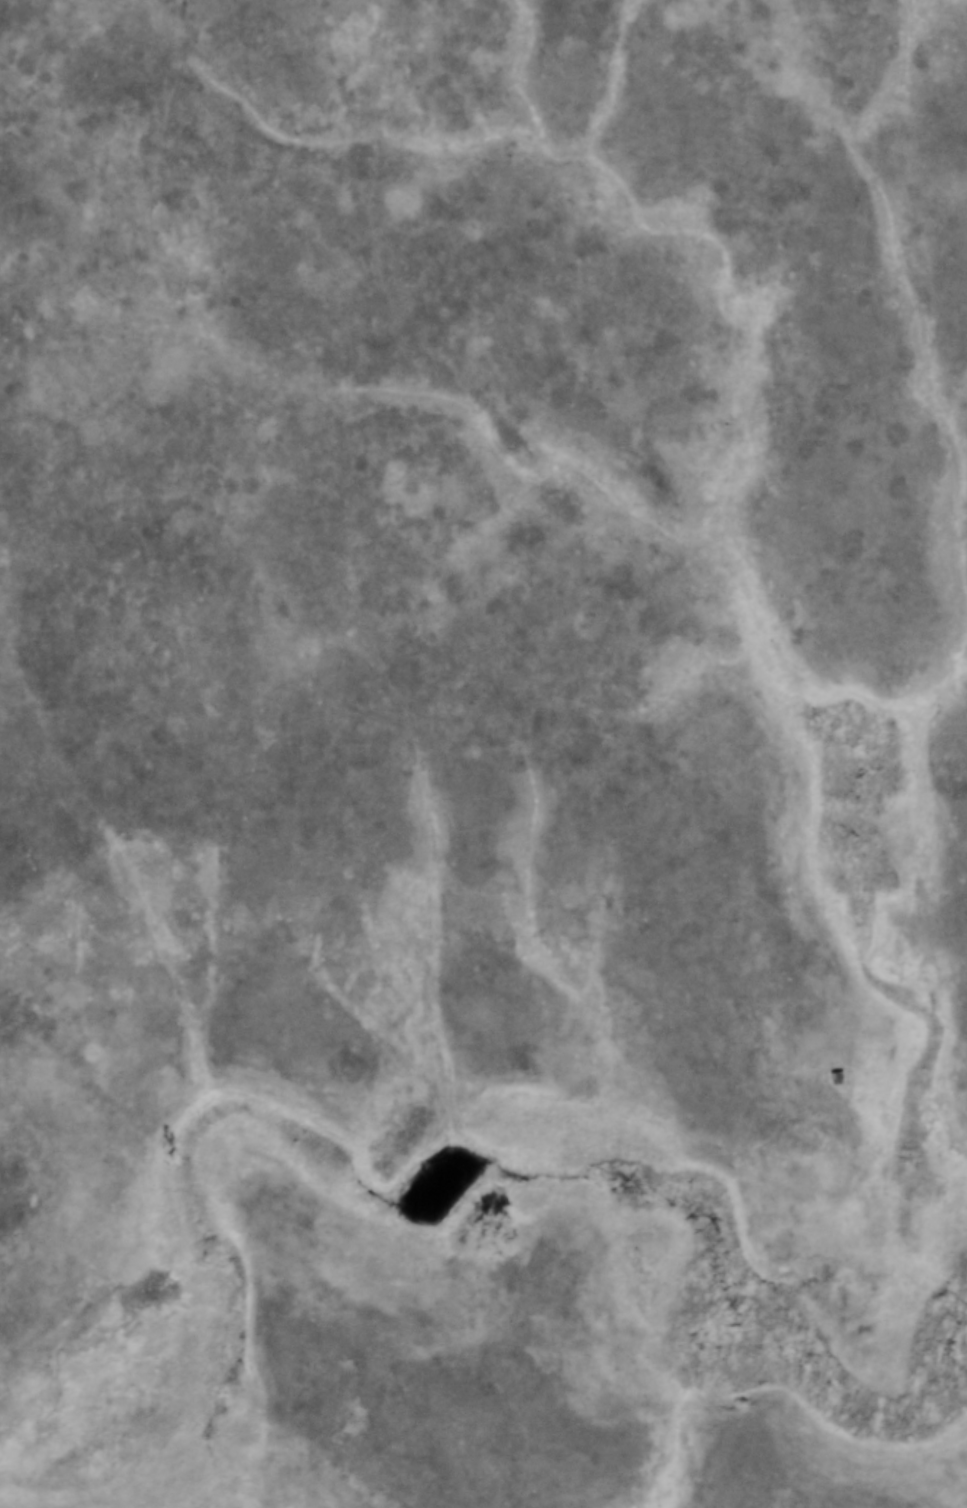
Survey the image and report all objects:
building: (837, 1080)

